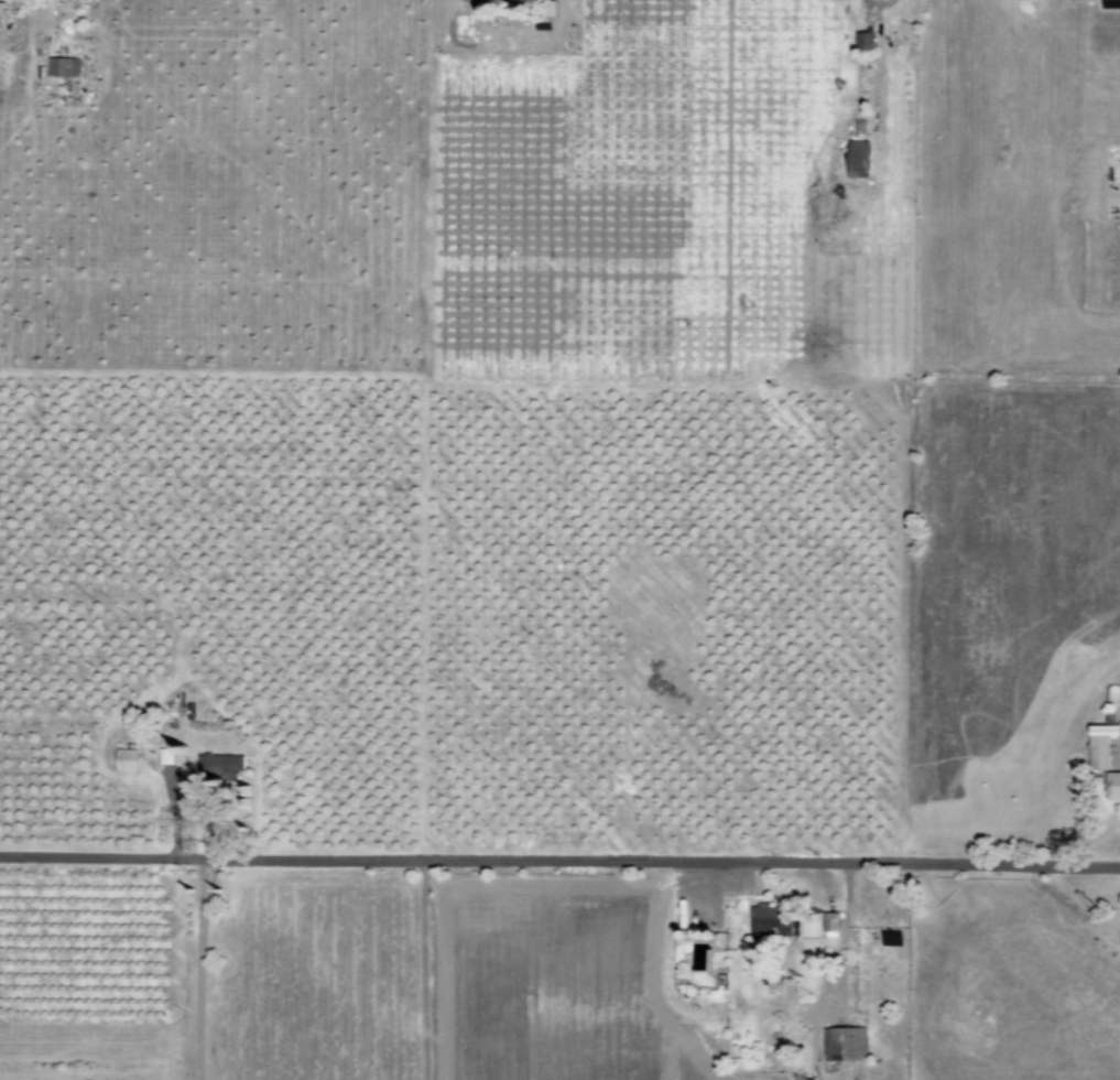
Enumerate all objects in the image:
building: (514, 0)
building: (2, 18)
building: (865, 41)
building: (61, 67)
building: (858, 160)
building: (1099, 745)
building: (123, 759)
building: (219, 766)
building: (1112, 786)
road: (559, 855)
building: (769, 920)
building: (830, 925)
road: (198, 965)
building: (842, 1044)

